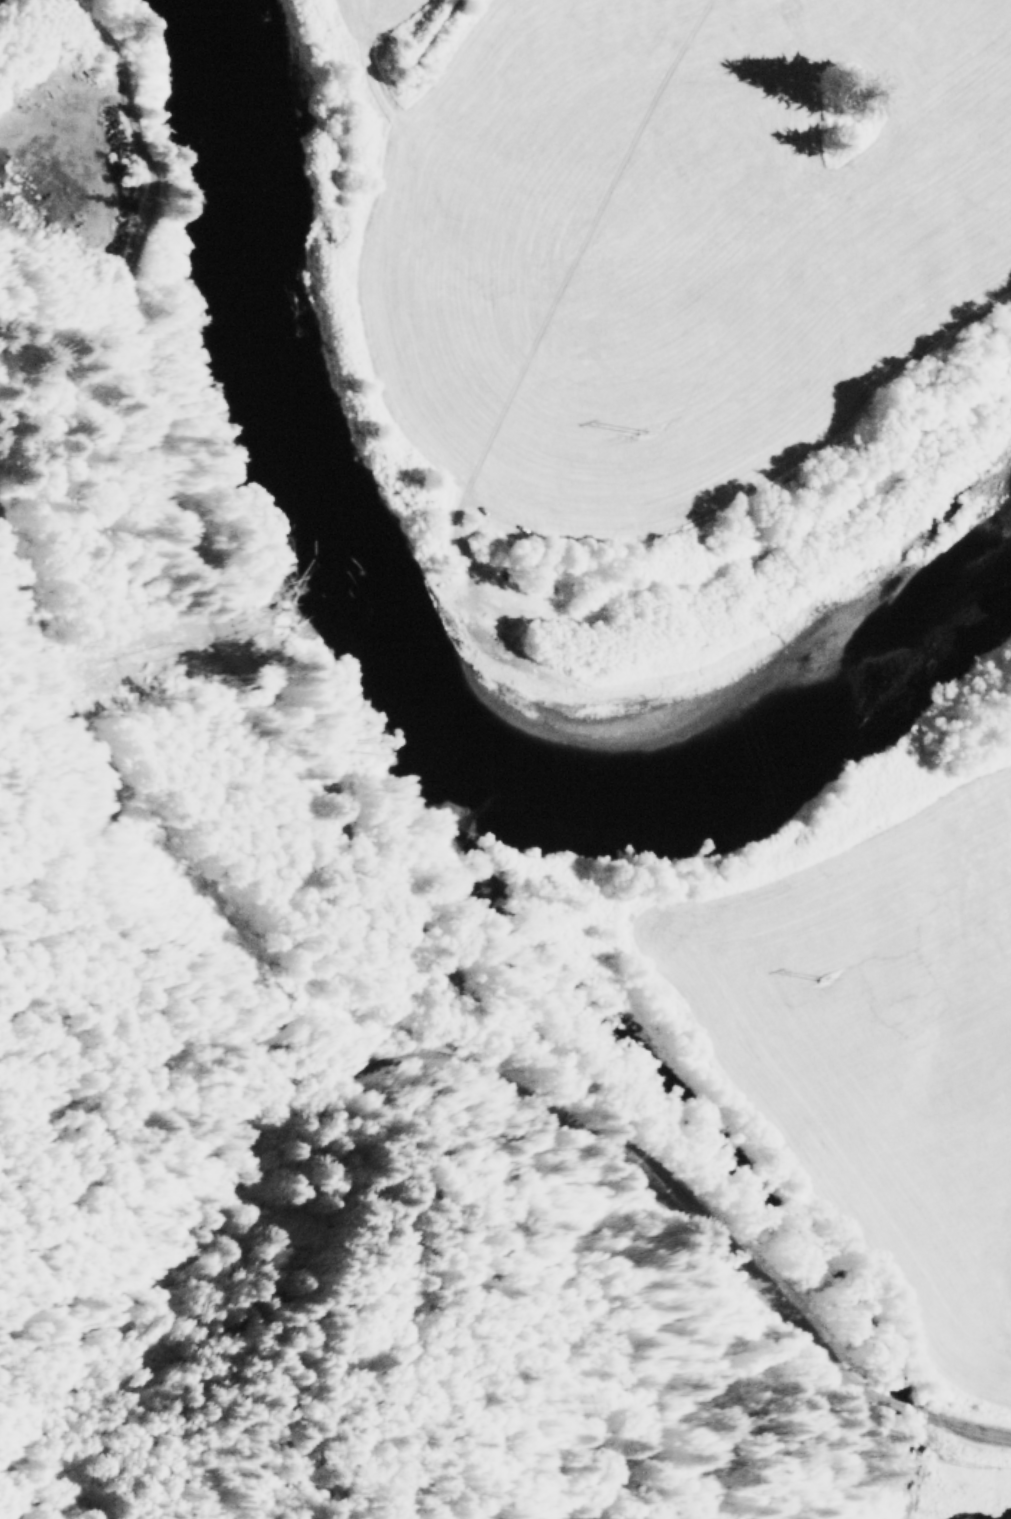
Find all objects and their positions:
crop: (641, 219)
river: (405, 653)
road: (422, 1049)
crop: (885, 1082)

